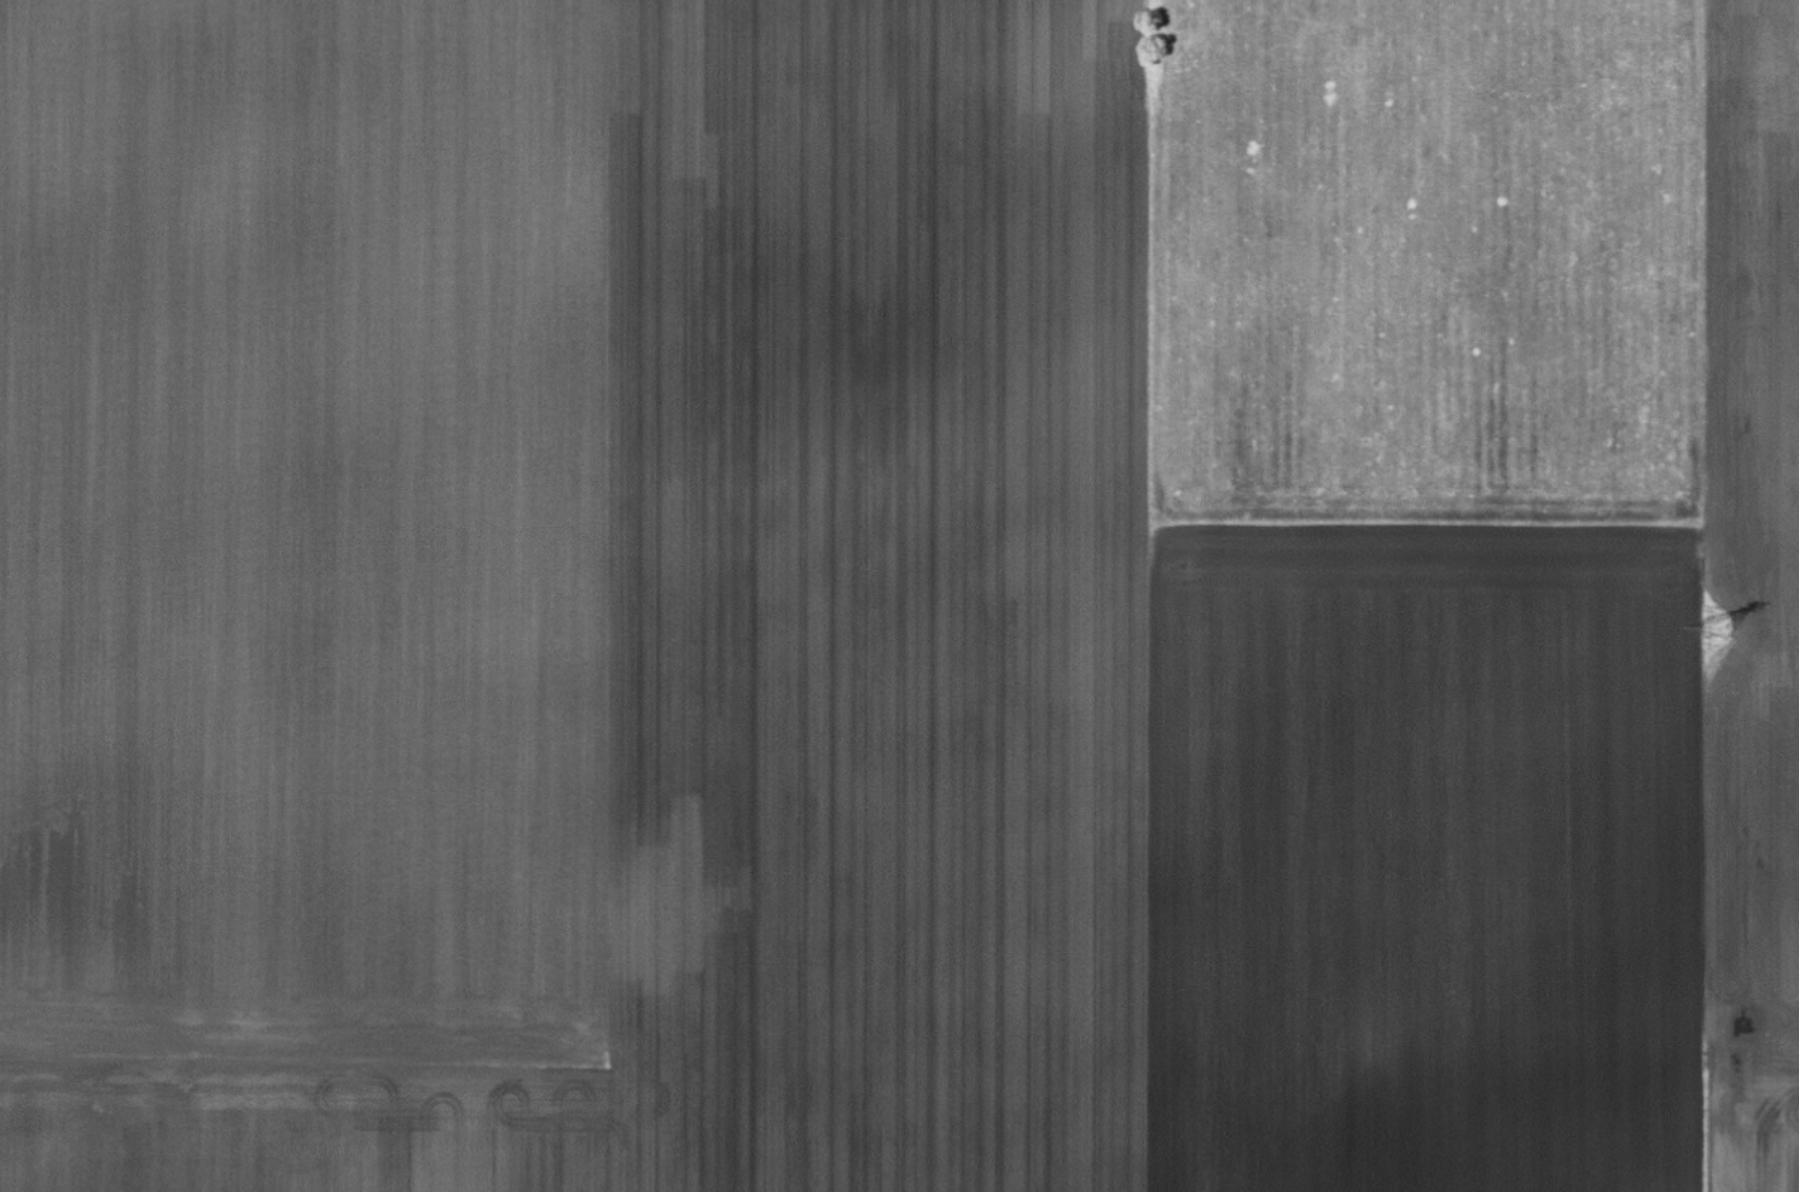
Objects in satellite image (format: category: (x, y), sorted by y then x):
power tower: (1713, 627)

